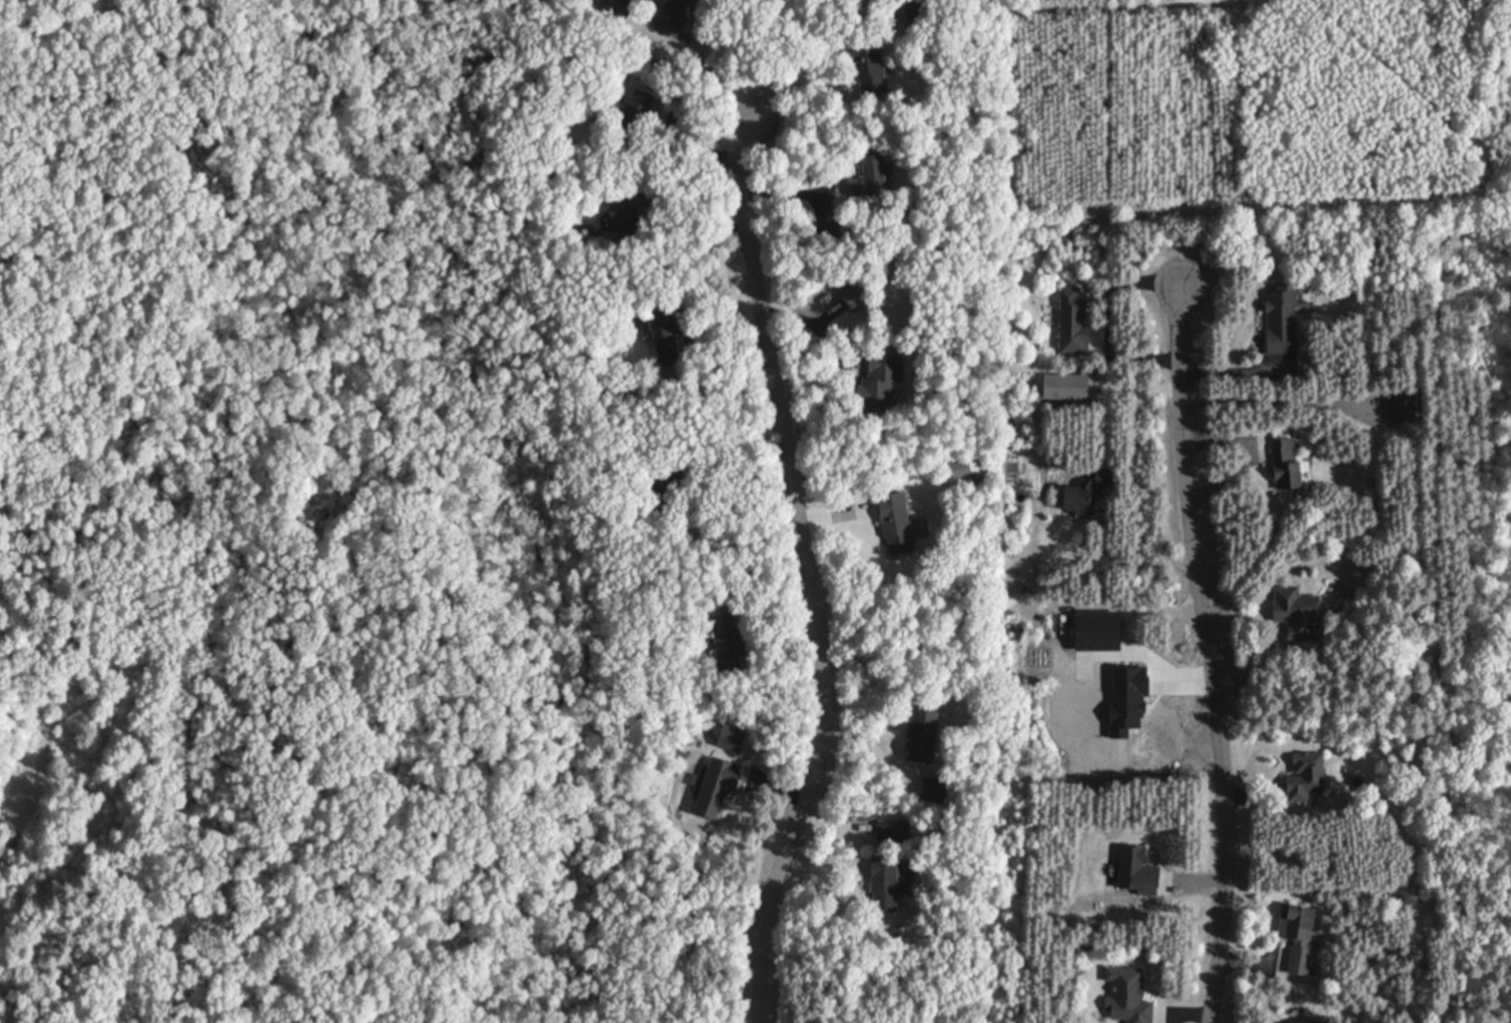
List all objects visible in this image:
building: (899, 0)
building: (619, 7)
building: (918, 10)
building: (673, 15)
road: (710, 60)
building: (869, 63)
building: (634, 114)
building: (873, 176)
building: (623, 217)
building: (828, 227)
building: (847, 279)
building: (857, 296)
building: (1282, 320)
building: (1074, 322)
building: (667, 334)
building: (881, 379)
road: (1277, 396)
building: (1402, 407)
building: (1286, 464)
building: (962, 470)
building: (669, 481)
building: (1086, 492)
building: (896, 522)
road: (811, 572)
building: (751, 579)
building: (974, 610)
building: (1297, 612)
building: (1103, 631)
building: (728, 638)
road: (1209, 656)
building: (1134, 701)
building: (923, 734)
building: (742, 739)
building: (1307, 775)
building: (717, 786)
building: (934, 790)
building: (893, 830)
building: (1134, 870)
building: (887, 883)
building: (1298, 937)
building: (1128, 995)
building: (1304, 1022)

